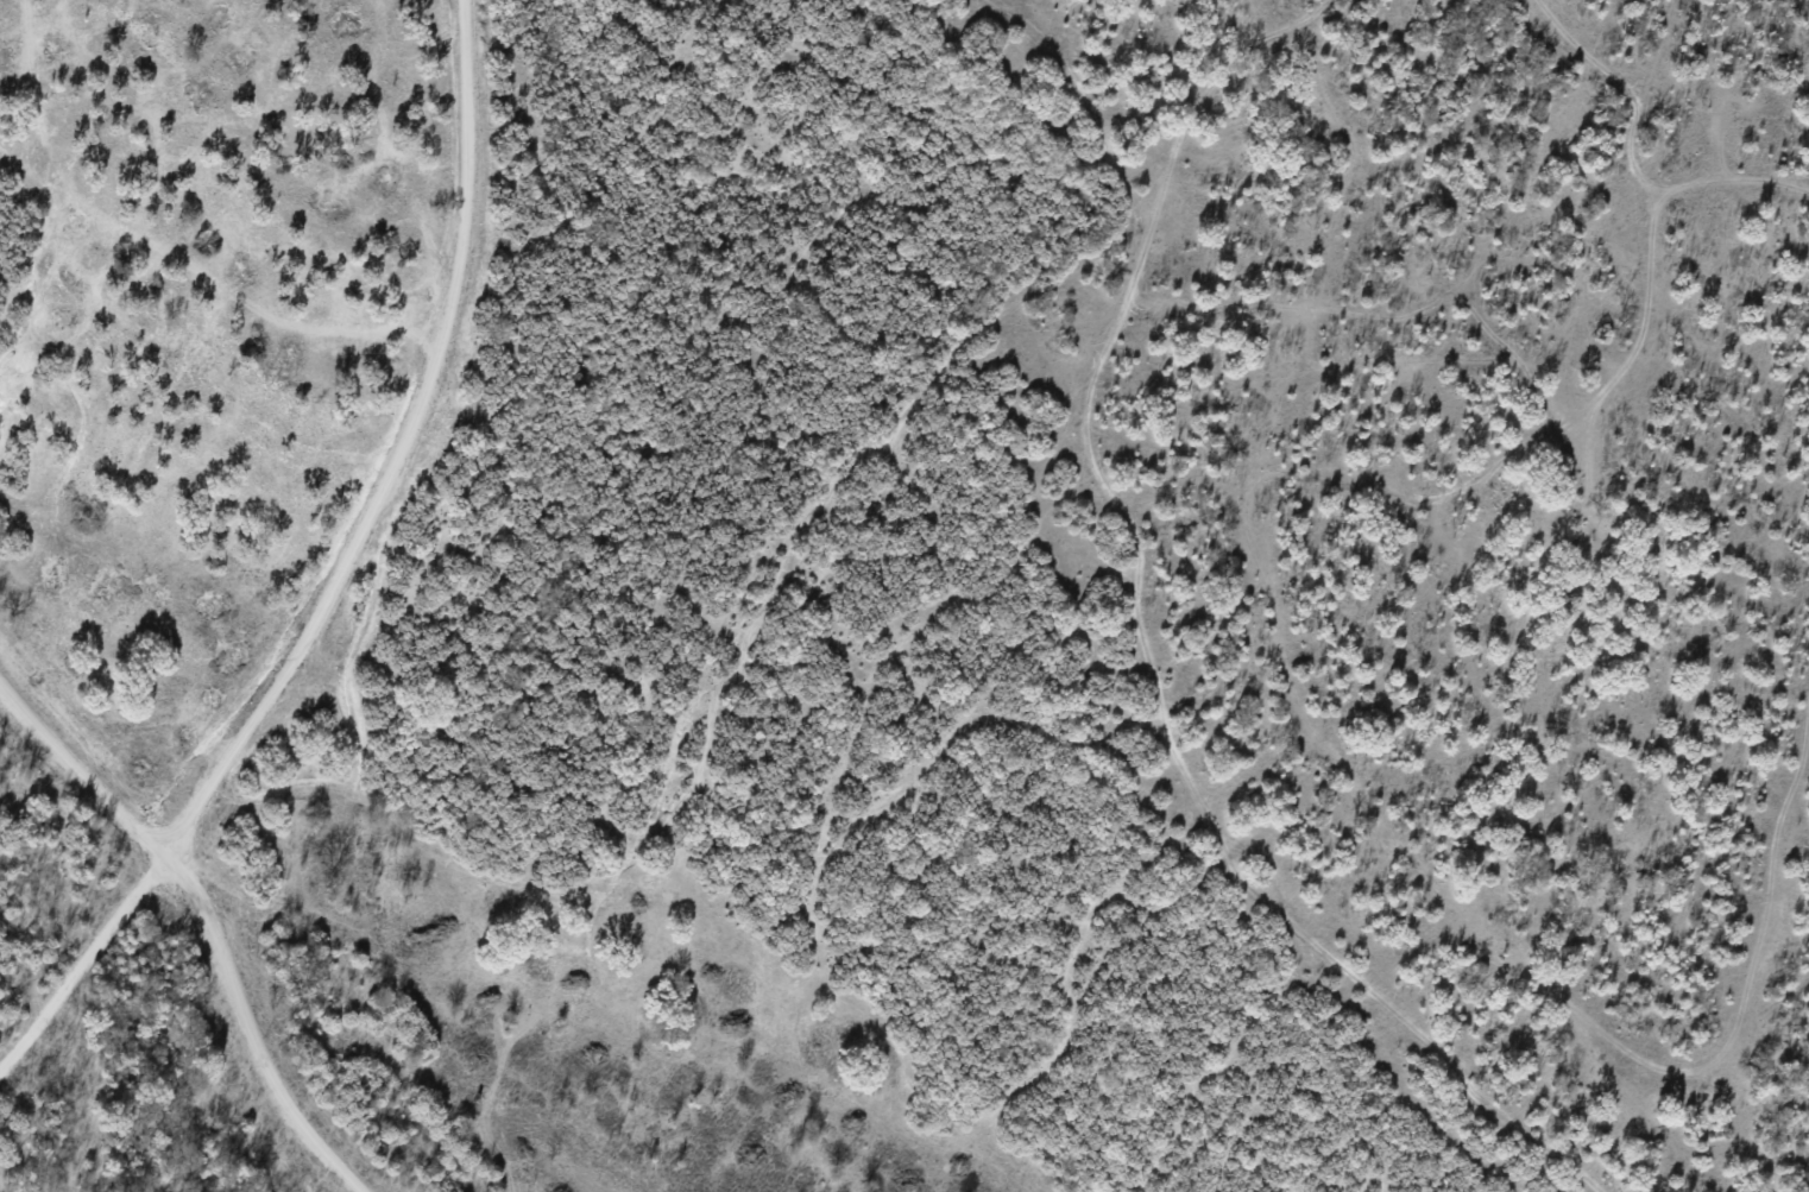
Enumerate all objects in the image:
road: (403, 454)
road: (212, 921)
road: (83, 966)

